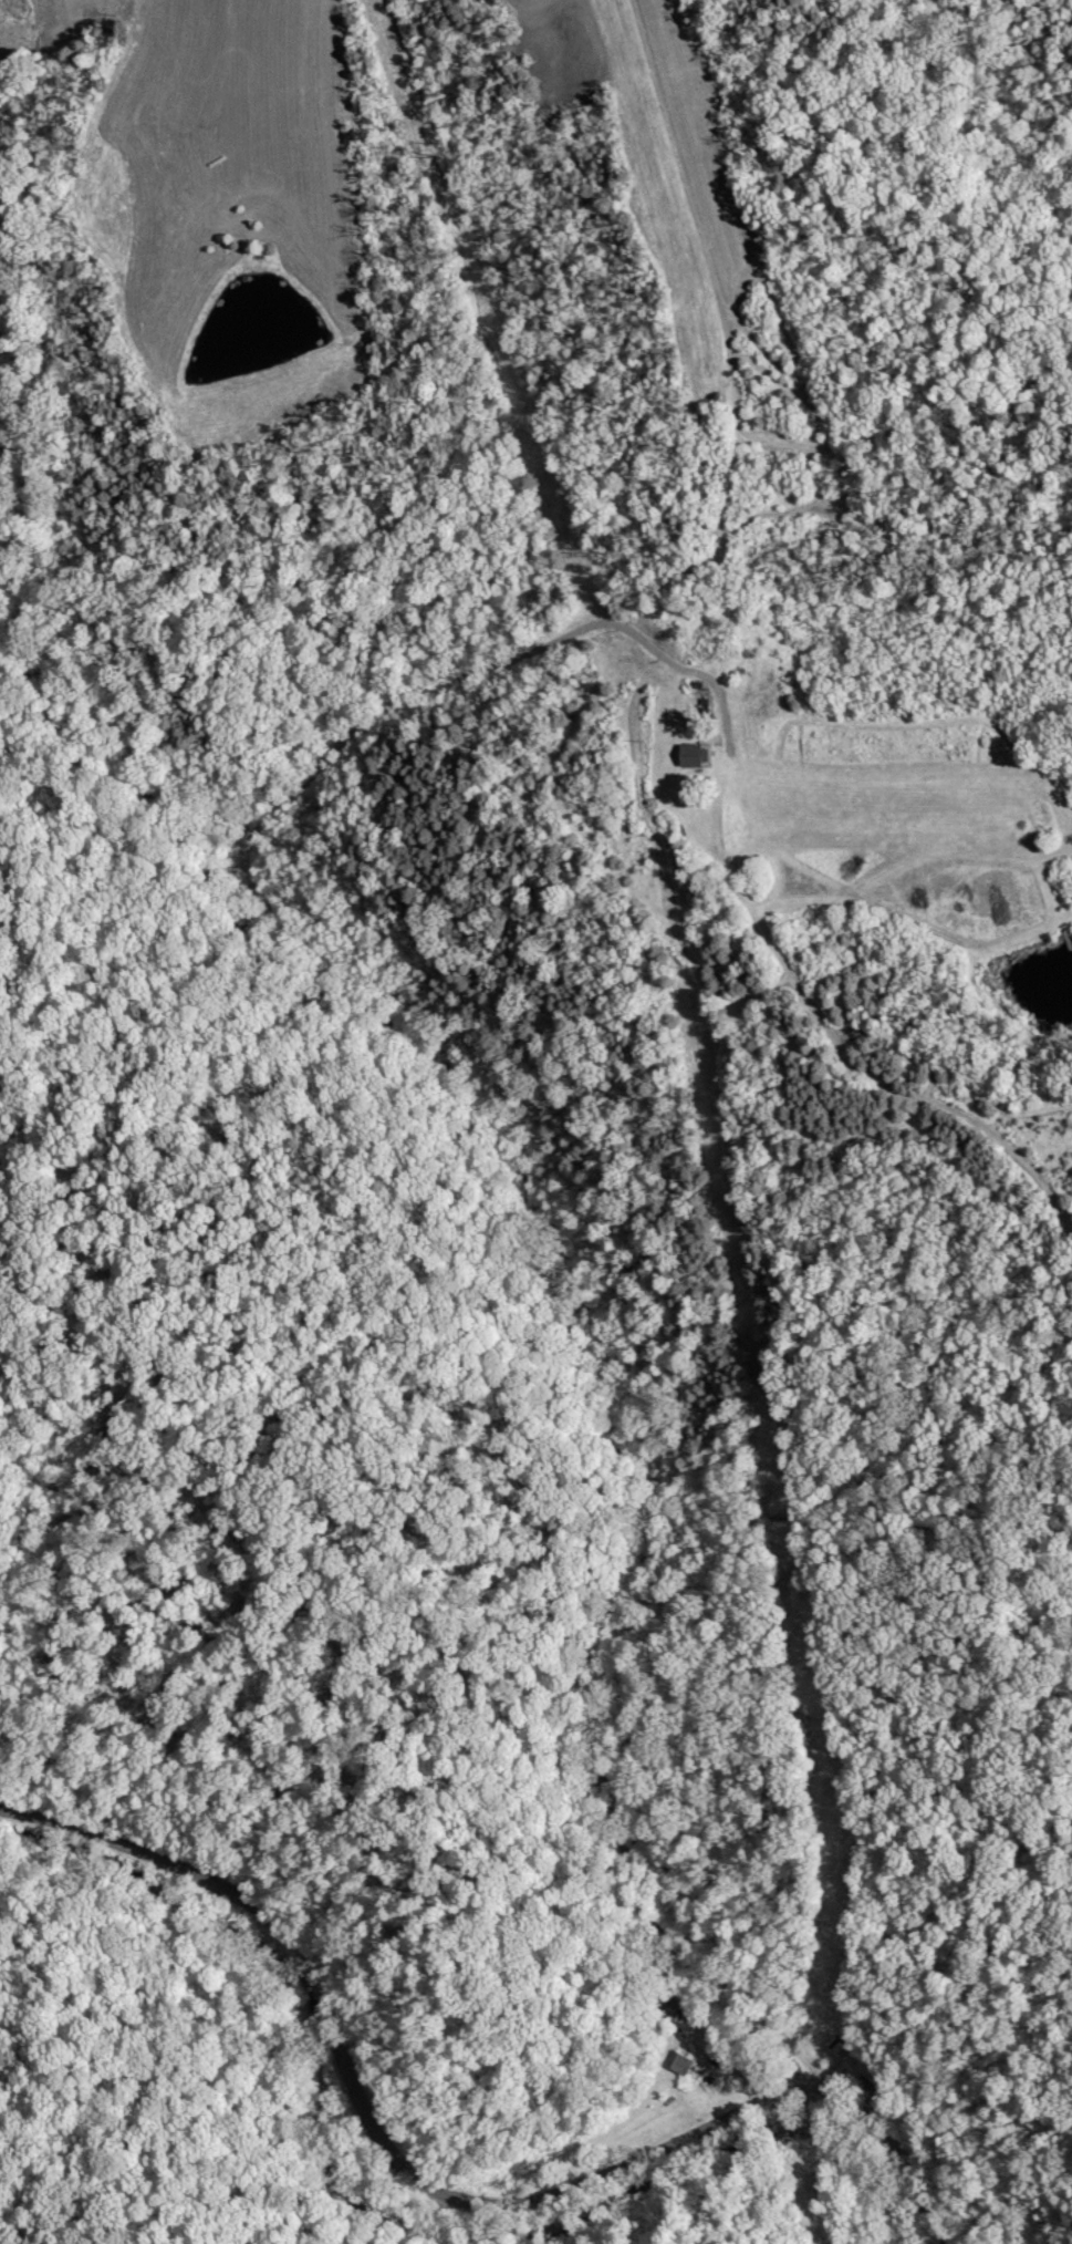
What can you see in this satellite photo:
building: (695, 755)
building: (672, 2006)
building: (681, 2062)
road: (438, 2193)

